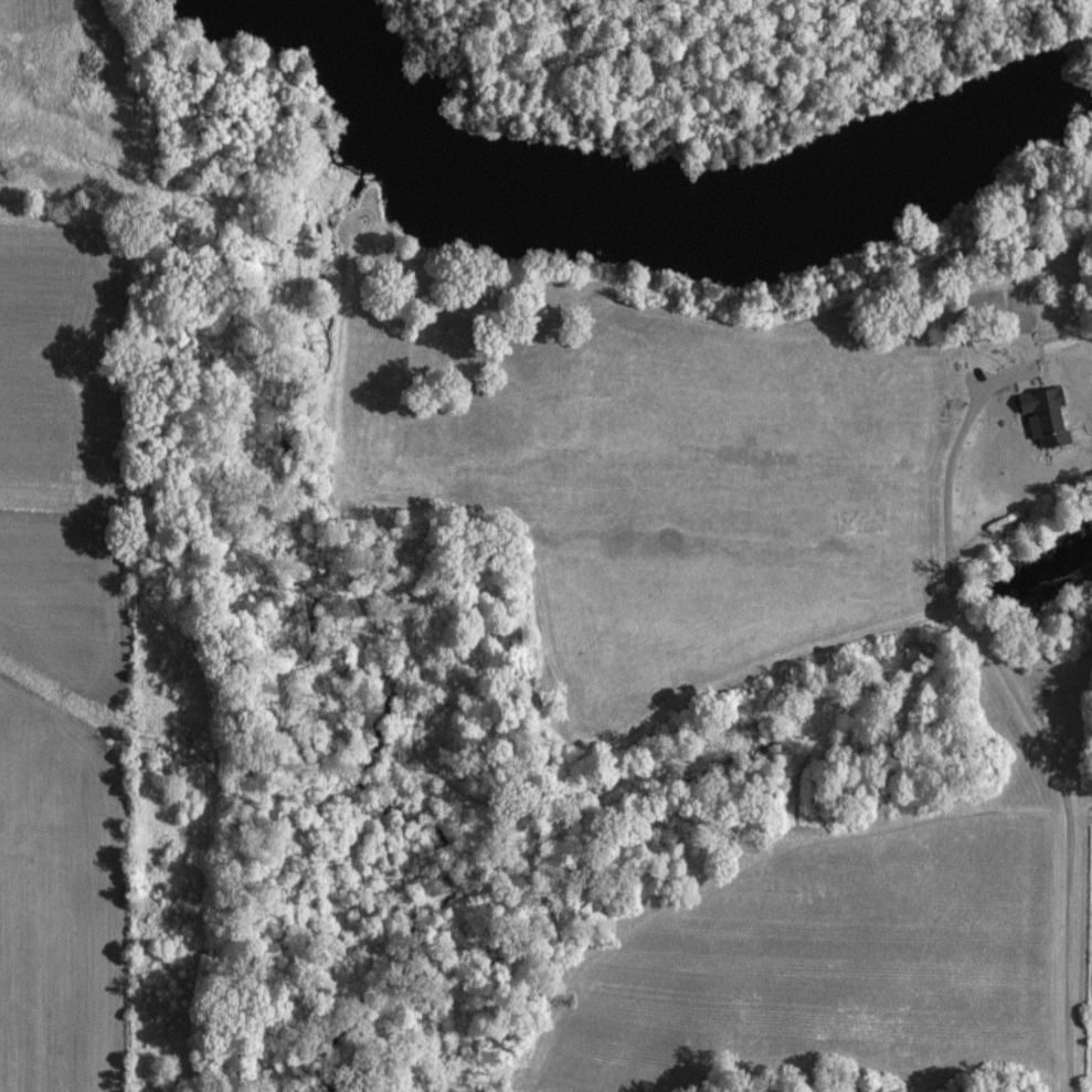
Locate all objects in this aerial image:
building: (1041, 414)
road: (1036, 725)

